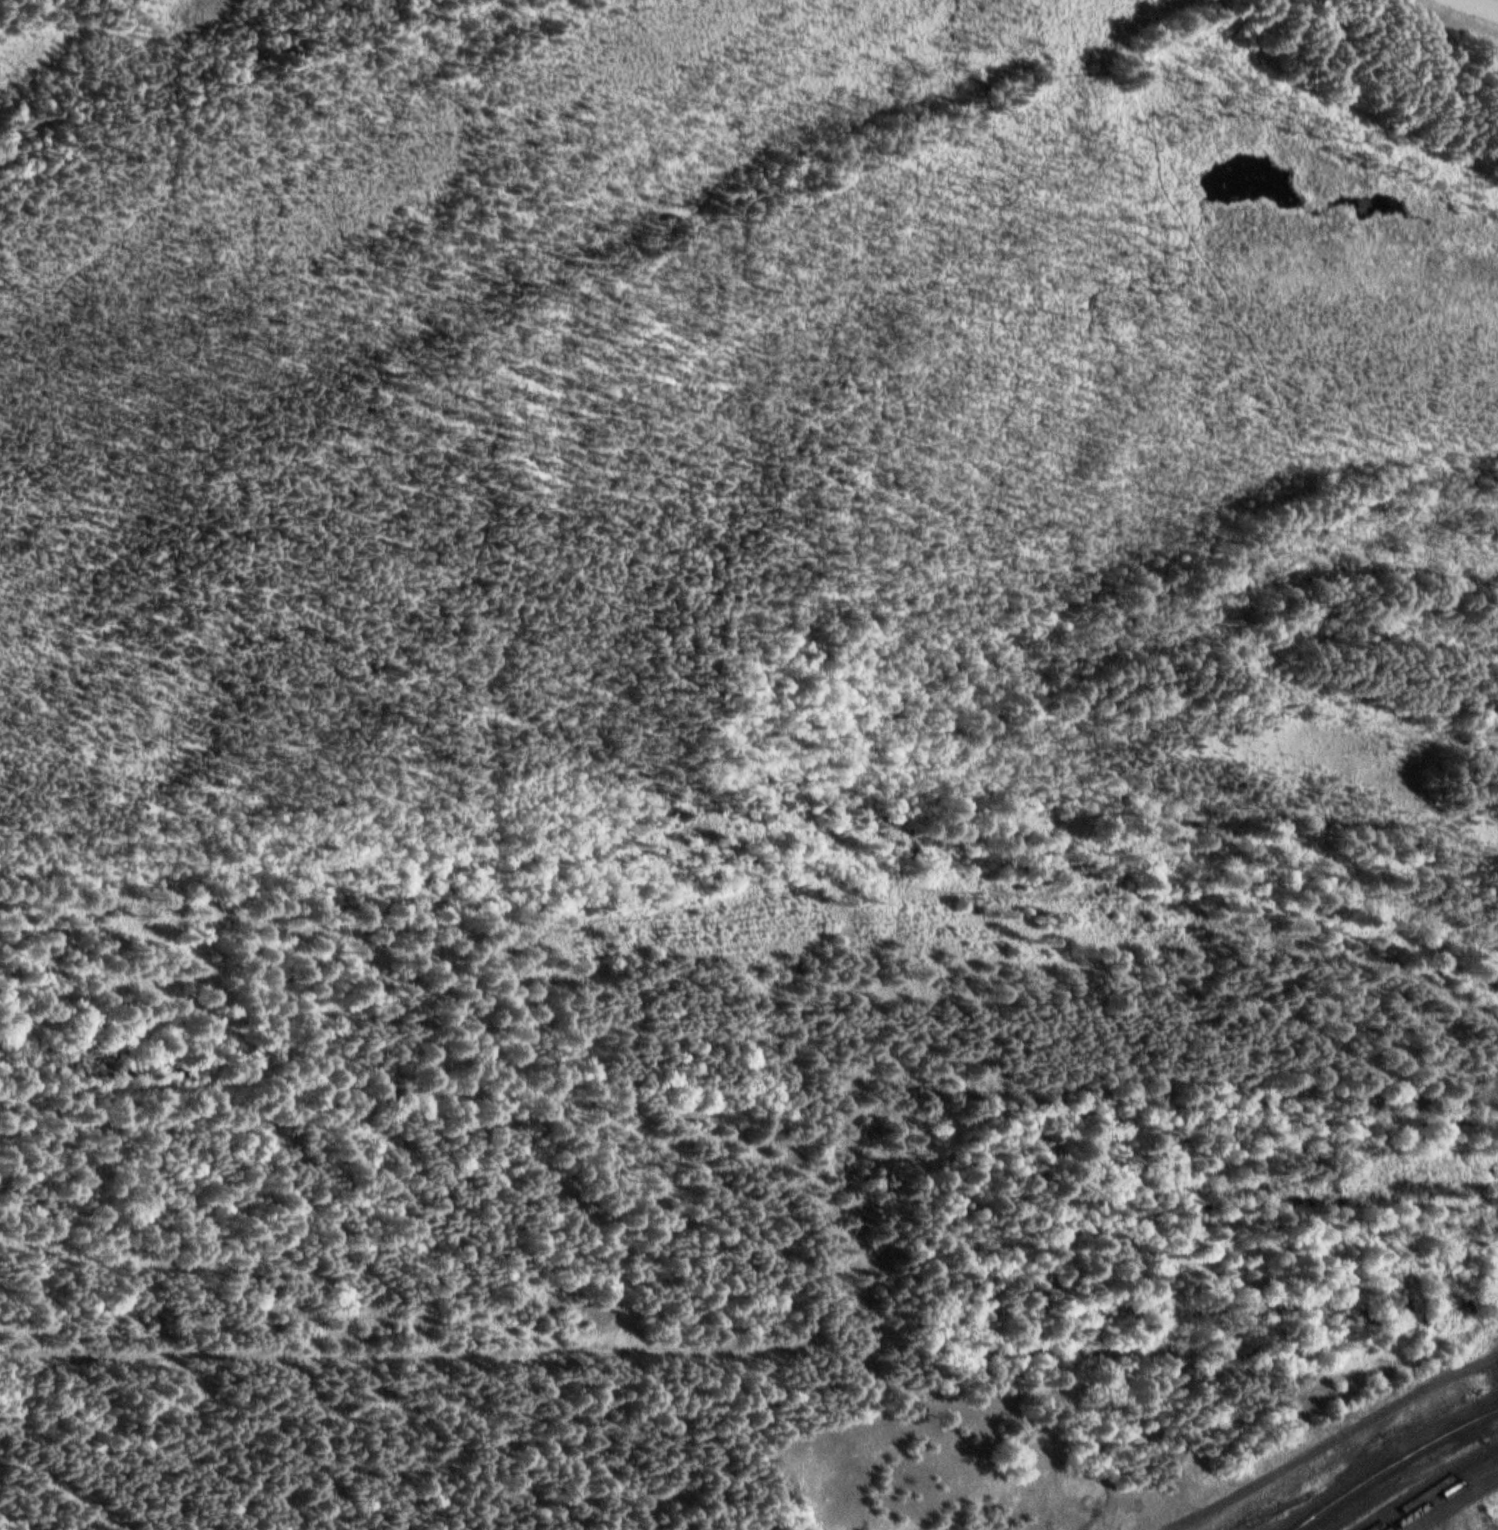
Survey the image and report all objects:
railway: (1477, 1419)
road: (1335, 1439)
railway: (1343, 1449)
railway: (1376, 1476)
railway: (1345, 1481)
railway: (1435, 1489)
railway: (1443, 1495)

